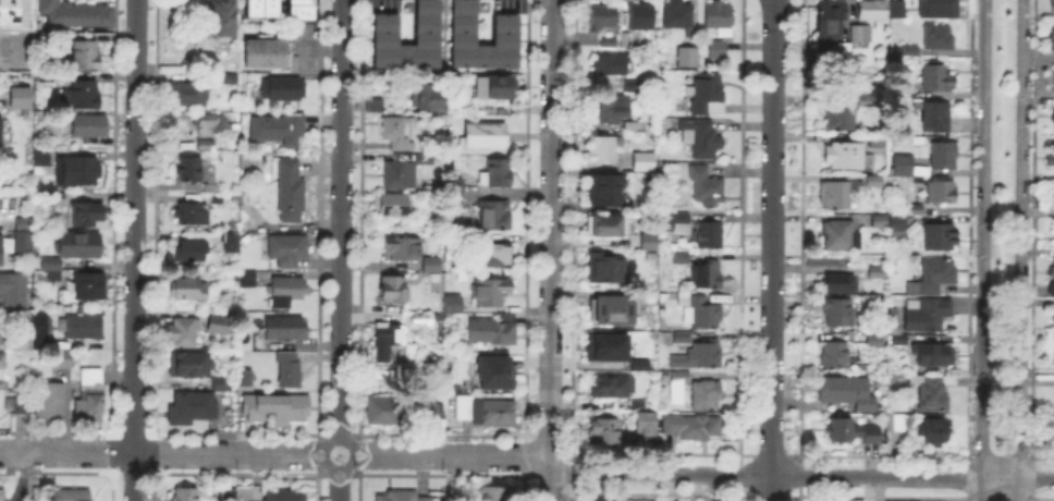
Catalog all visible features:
building: (1053, 7)
building: (257, 8)
building: (936, 8)
building: (298, 9)
building: (872, 11)
building: (897, 11)
building: (77, 14)
building: (678, 15)
building: (222, 17)
building: (601, 17)
building: (637, 19)
building: (720, 20)
building: (831, 21)
building: (14, 24)
building: (383, 27)
building: (503, 28)
building: (861, 35)
building: (939, 37)
building: (625, 40)
building: (1052, 40)
building: (609, 42)
building: (718, 50)
building: (843, 50)
building: (908, 51)
building: (266, 54)
building: (84, 56)
building: (688, 59)
building: (612, 65)
building: (1052, 77)
building: (230, 80)
building: (936, 80)
building: (495, 88)
building: (635, 88)
building: (283, 89)
building: (188, 94)
building: (17, 96)
building: (86, 97)
building: (425, 97)
building: (708, 97)
building: (867, 101)
building: (376, 106)
building: (609, 111)
building: (936, 117)
building: (1053, 117)
building: (841, 119)
building: (210, 123)
building: (89, 126)
building: (634, 127)
building: (279, 130)
building: (0, 132)
building: (399, 132)
building: (486, 136)
building: (703, 138)
building: (207, 146)
building: (605, 150)
building: (945, 157)
building: (846, 158)
building: (41, 159)
building: (1050, 159)
building: (424, 160)
building: (646, 163)
building: (904, 166)
building: (188, 170)
building: (77, 172)
building: (499, 174)
building: (396, 175)
building: (875, 182)
building: (455, 186)
building: (706, 187)
building: (608, 191)
building: (291, 192)
building: (943, 193)
building: (1053, 193)
building: (837, 195)
building: (58, 199)
building: (456, 201)
building: (390, 206)
building: (914, 210)
building: (193, 211)
building: (248, 213)
building: (87, 215)
building: (494, 216)
building: (894, 221)
building: (882, 222)
building: (676, 223)
building: (25, 224)
building: (608, 227)
building: (899, 230)
park: (1001, 232)
building: (1053, 233)
building: (838, 235)
building: (711, 236)
building: (940, 237)
building: (650, 242)
building: (76, 243)
building: (231, 243)
building: (23, 246)
road: (133, 249)
road: (340, 249)
road: (550, 249)
road: (981, 249)
building: (287, 250)
building: (404, 250)
road: (772, 250)
road: (1020, 250)
building: (0, 252)
building: (191, 252)
building: (499, 256)
building: (682, 259)
building: (47, 261)
building: (433, 266)
building: (608, 269)
building: (1052, 269)
building: (51, 273)
building: (878, 273)
building: (708, 277)
building: (934, 278)
building: (248, 280)
building: (842, 284)
building: (89, 286)
building: (14, 290)
building: (188, 290)
building: (395, 292)
building: (285, 293)
building: (490, 294)
building: (454, 305)
building: (612, 310)
building: (838, 313)
building: (927, 314)
building: (706, 317)
building: (1053, 317)
building: (216, 322)
building: (420, 322)
building: (83, 327)
building: (286, 329)
building: (494, 331)
building: (41, 332)
building: (183, 333)
building: (392, 334)
building: (679, 338)
building: (8, 340)
building: (900, 341)
building: (877, 342)
building: (612, 345)
building: (700, 356)
building: (932, 356)
building: (835, 357)
building: (63, 361)
building: (188, 365)
building: (290, 371)
building: (495, 371)
building: (3, 372)
building: (242, 375)
building: (682, 378)
building: (222, 386)
building: (614, 388)
building: (932, 392)
building: (848, 393)
building: (91, 396)
building: (707, 396)
building: (50, 400)
building: (24, 403)
building: (192, 408)
building: (275, 408)
building: (387, 412)
building: (436, 412)
building: (486, 412)
building: (896, 424)
building: (646, 425)
building: (1053, 427)
building: (694, 428)
building: (605, 431)
building: (935, 432)
building: (854, 433)
road: (528, 456)
building: (2, 494)
building: (497, 494)
building: (71, 496)
building: (186, 496)
building: (229, 496)
building: (286, 497)
building: (402, 498)

